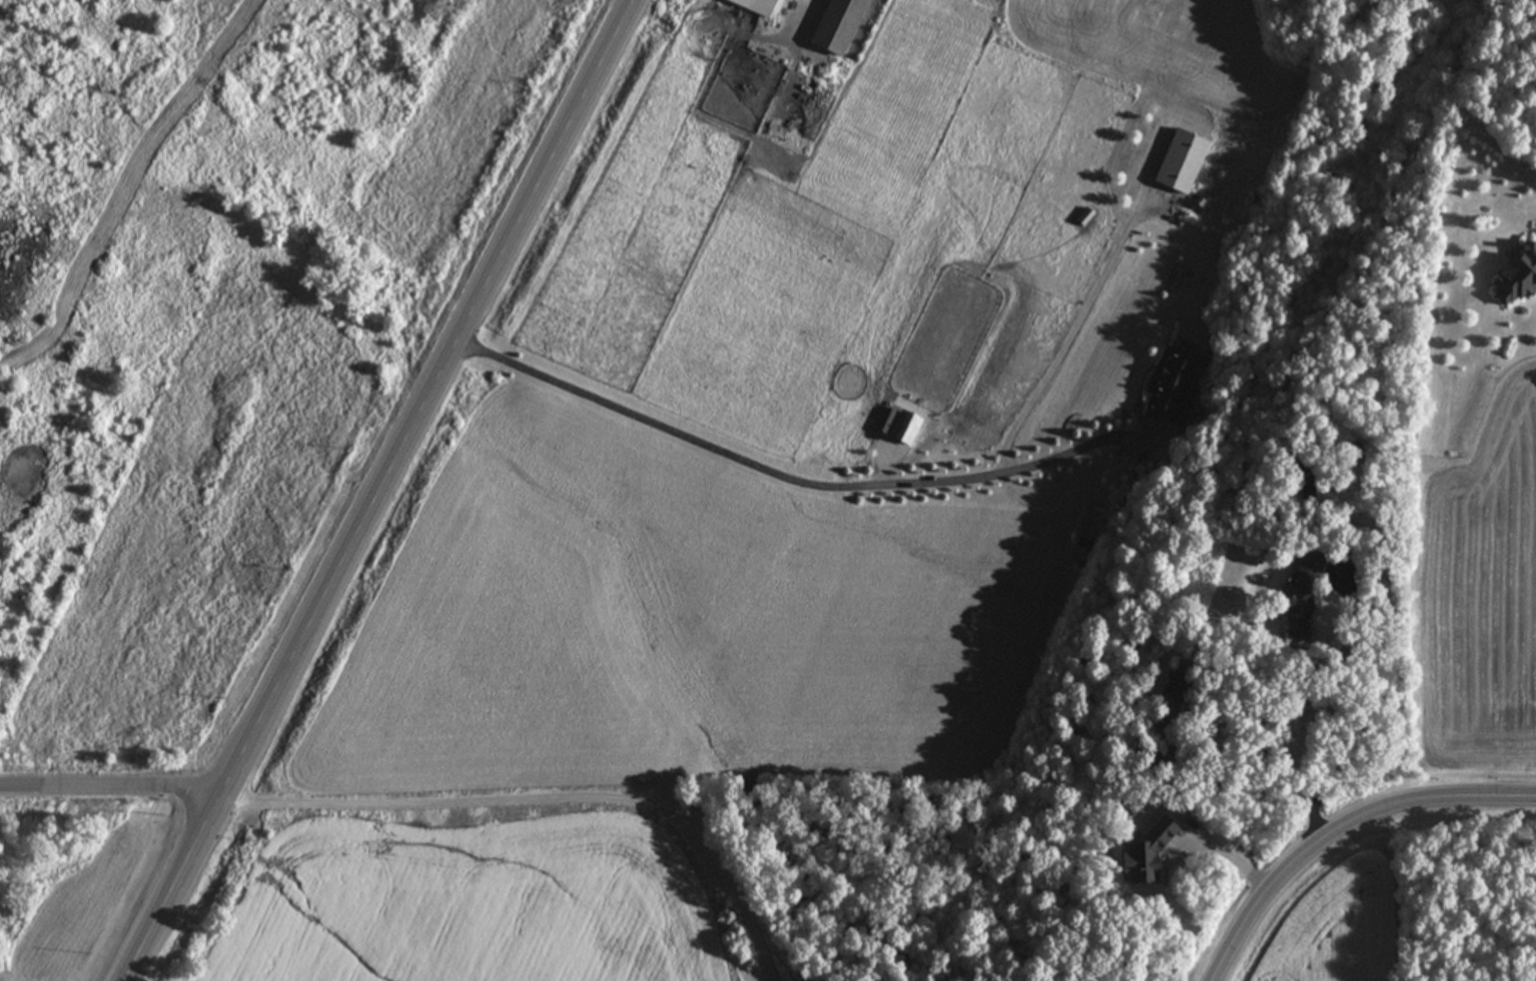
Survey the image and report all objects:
building: (837, 26)
building: (1179, 162)
building: (1513, 277)
building: (1173, 388)
road: (788, 478)
road: (384, 490)
building: (1298, 597)
road: (1384, 673)
building: (1165, 689)
road: (112, 797)
road: (543, 806)
road: (1343, 826)
road: (1229, 851)

